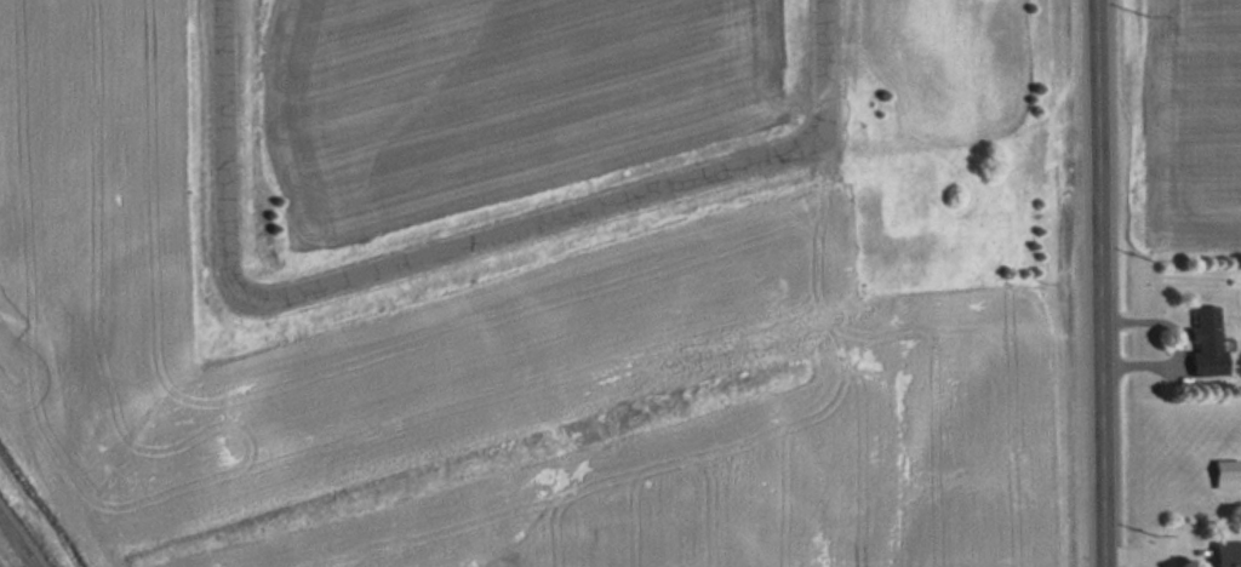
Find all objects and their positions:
road: (820, 65)
road: (223, 149)
road: (532, 220)
road: (1098, 283)
building: (1202, 339)
railway: (24, 532)
building: (1224, 554)

